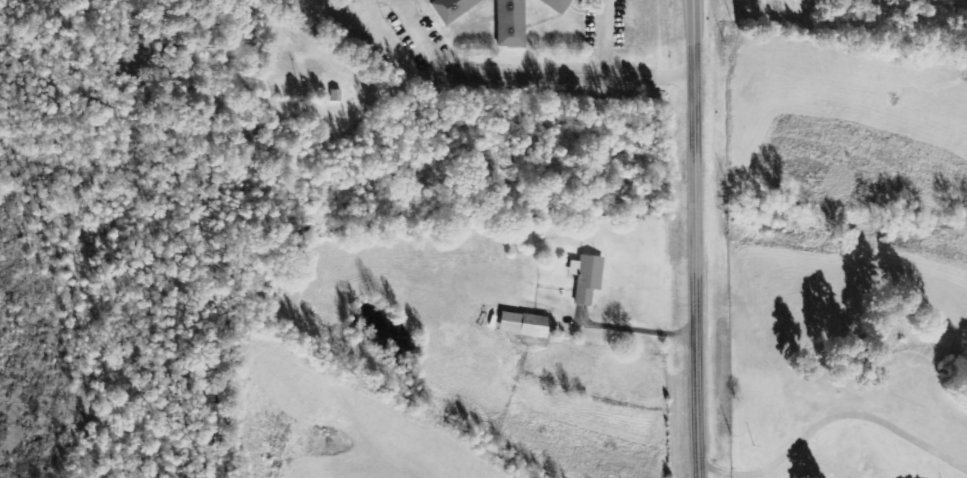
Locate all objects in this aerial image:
building: (553, 5)
building: (449, 8)
building: (508, 23)
road: (477, 77)
road: (609, 77)
building: (333, 95)
road: (694, 239)
building: (584, 278)
building: (519, 325)

